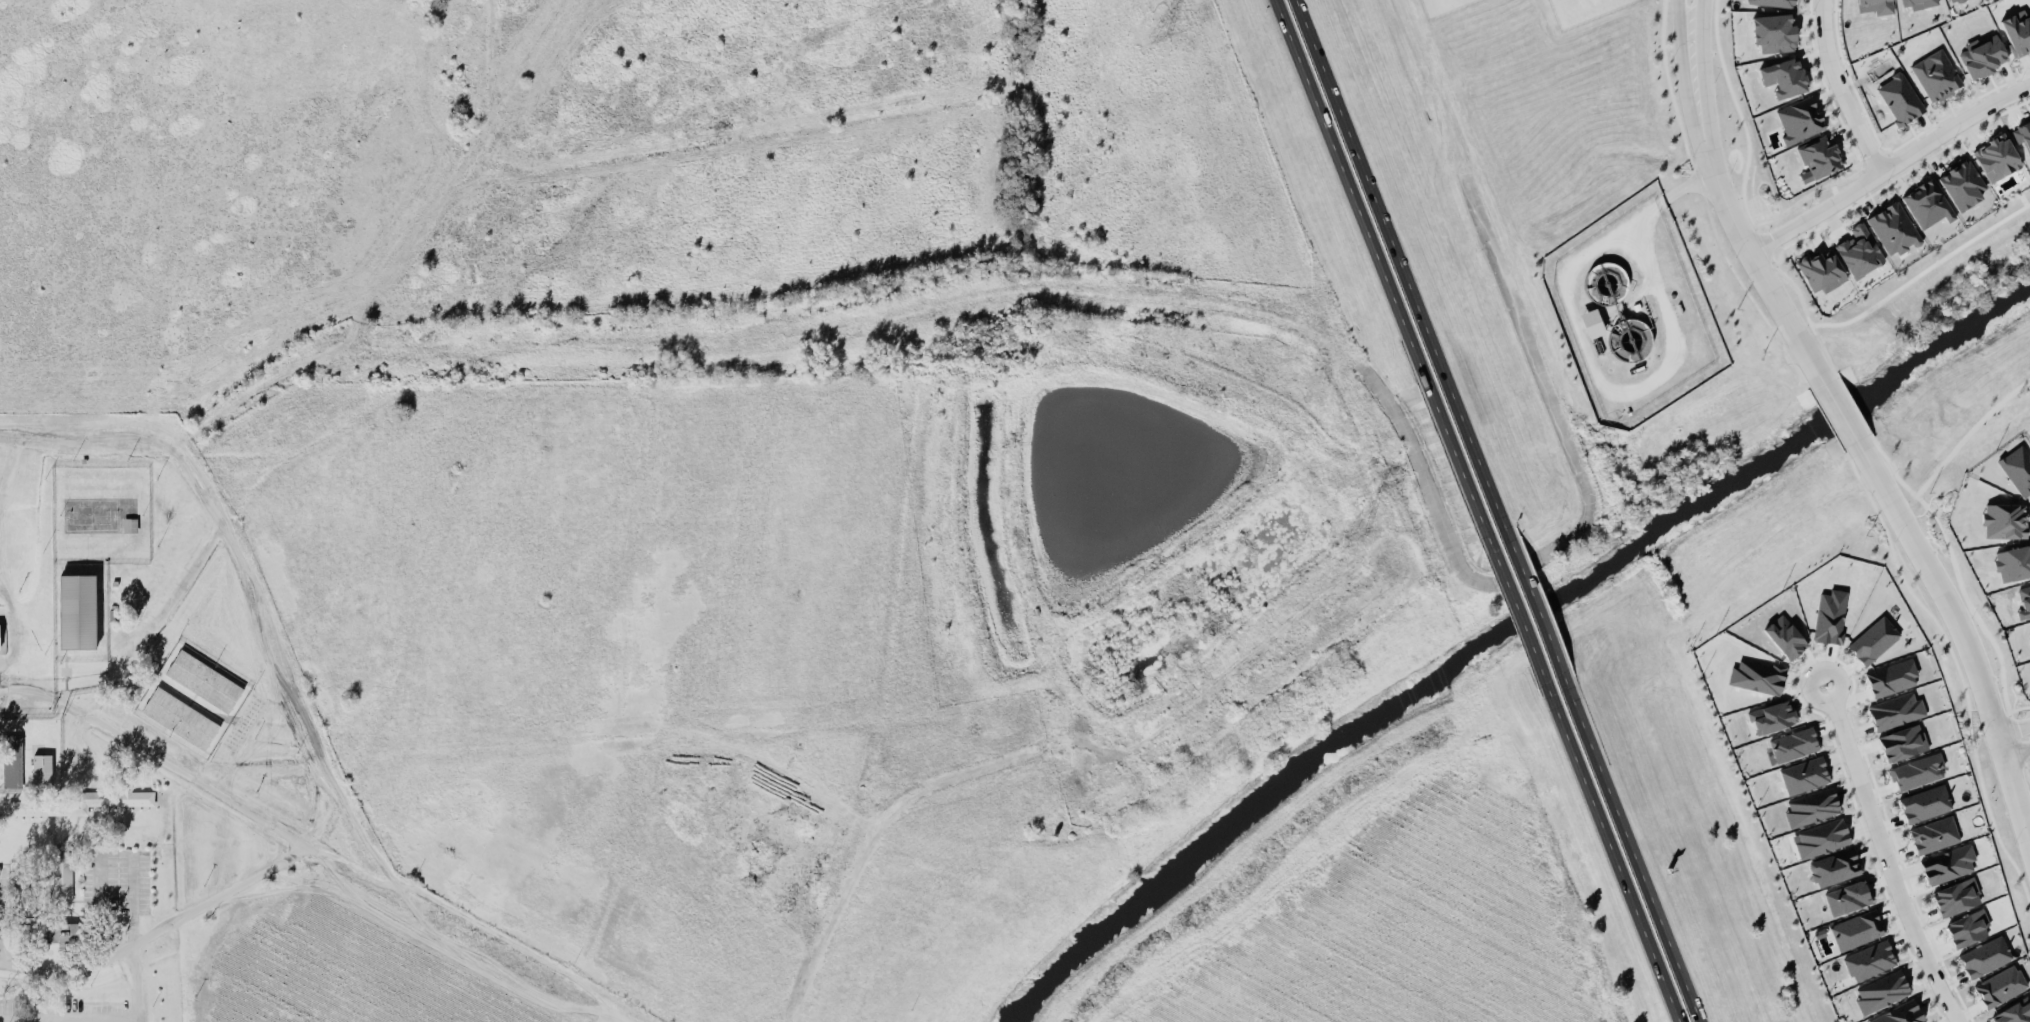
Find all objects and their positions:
building: (1950, 0)
building: (1773, 2)
building: (1917, 3)
building: (1875, 6)
building: (2017, 31)
building: (1773, 32)
power tower: (1157, 36)
building: (1982, 56)
building: (1935, 74)
building: (1783, 76)
road: (1833, 92)
building: (1899, 98)
building: (1798, 119)
building: (1818, 156)
building: (1996, 157)
road: (1879, 175)
road: (1724, 182)
road: (1693, 191)
building: (1927, 203)
building: (1858, 250)
road: (1399, 257)
road: (1378, 260)
building: (1821, 271)
road: (875, 309)
building: (1591, 322)
road: (1805, 362)
road: (1837, 412)
road: (1968, 432)
road: (182, 439)
road: (1885, 469)
building: (2003, 520)
building: (129, 523)
road: (1323, 531)
power tower: (1352, 532)
building: (2012, 563)
road: (1537, 606)
building: (77, 610)
road: (1518, 613)
road: (1975, 614)
building: (1830, 615)
river: (1498, 631)
building: (1784, 636)
road: (1959, 636)
building: (1873, 640)
road: (285, 669)
building: (1758, 675)
building: (1891, 677)
building: (203, 679)
road: (70, 692)
building: (1895, 710)
building: (180, 716)
building: (1771, 716)
road: (2014, 733)
building: (1902, 742)
building: (1793, 743)
road: (2015, 747)
road: (162, 758)
building: (12, 759)
road: (993, 767)
building: (42, 769)
building: (1914, 771)
road: (73, 772)
building: (1803, 774)
building: (79, 801)
building: (1926, 803)
building: (1811, 806)
road: (1097, 812)
building: (1933, 834)
building: (1821, 837)
road: (1885, 856)
road: (1638, 860)
building: (1946, 863)
road: (1617, 864)
building: (1833, 867)
road: (354, 872)
building: (61, 875)
building: (1955, 896)
building: (1847, 897)
building: (1967, 927)
building: (1855, 929)
building: (65, 931)
road: (162, 931)
road: (133, 937)
crop: (1411, 945)
building: (1984, 956)
road: (8, 958)
road: (518, 958)
building: (1869, 959)
road: (22, 968)
building: (1999, 985)
building: (1881, 991)
building: (1900, 1013)
building: (2013, 1013)
road: (608, 1015)

